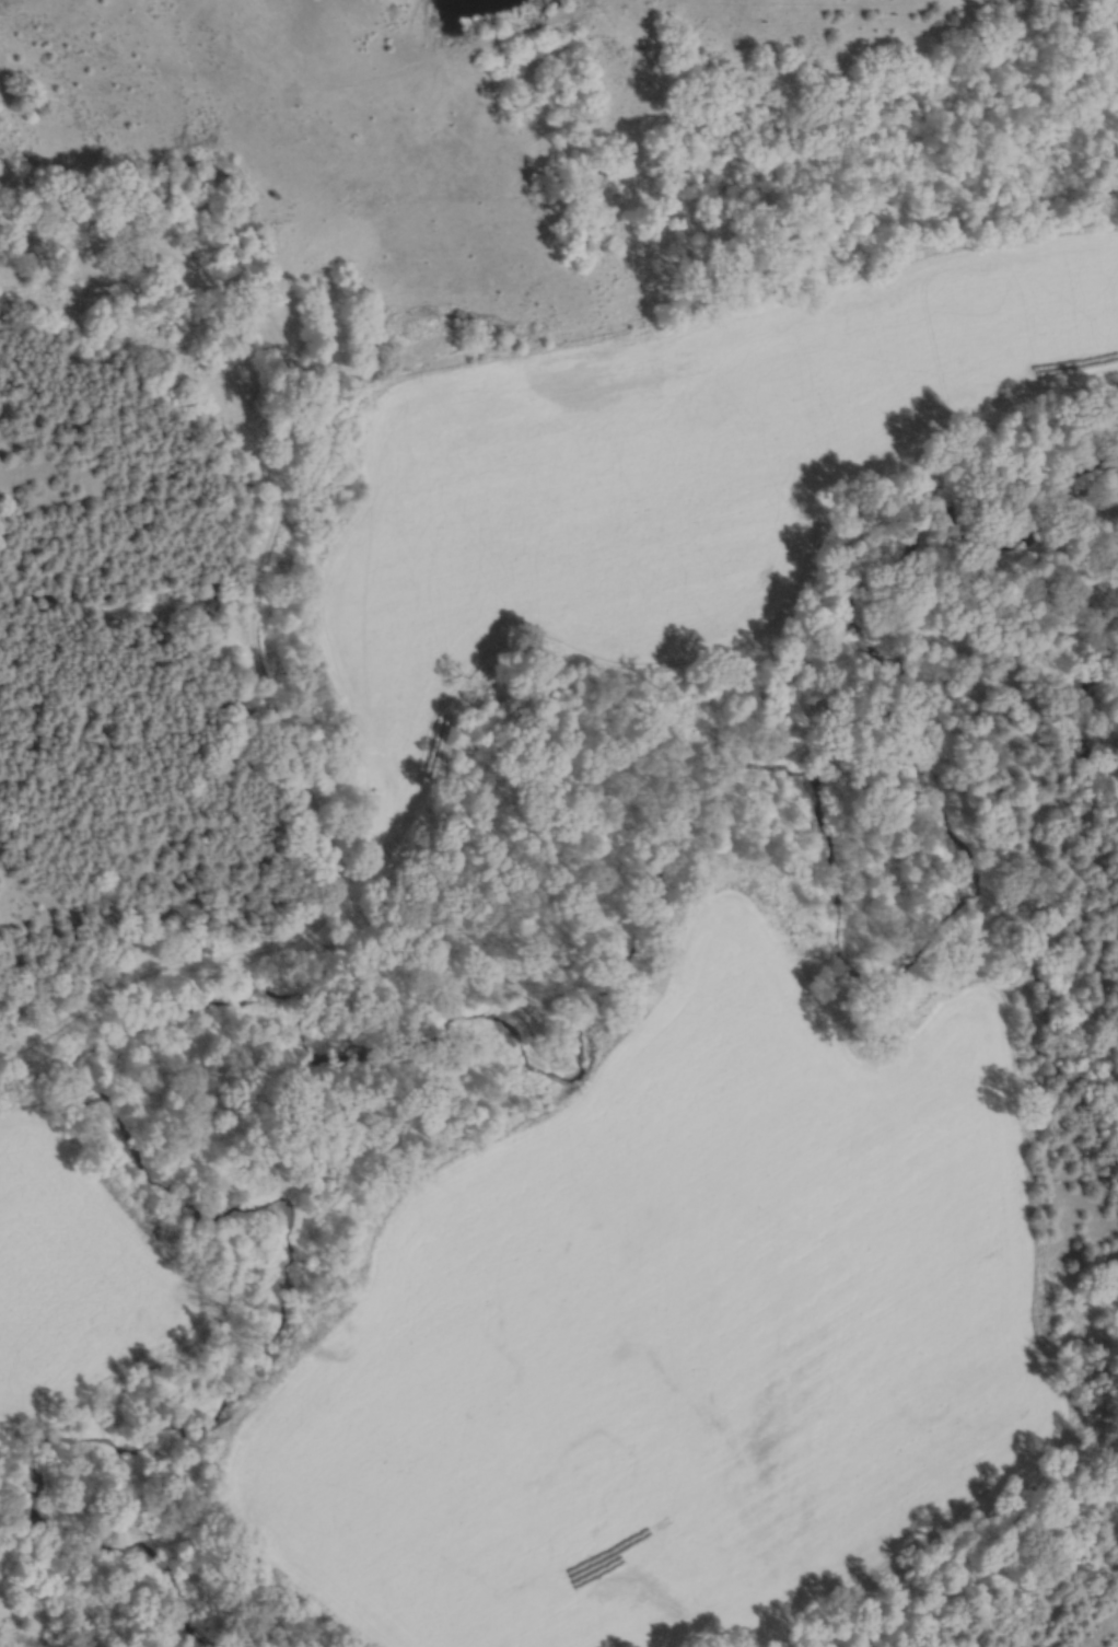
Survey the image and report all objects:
road: (261, 658)

